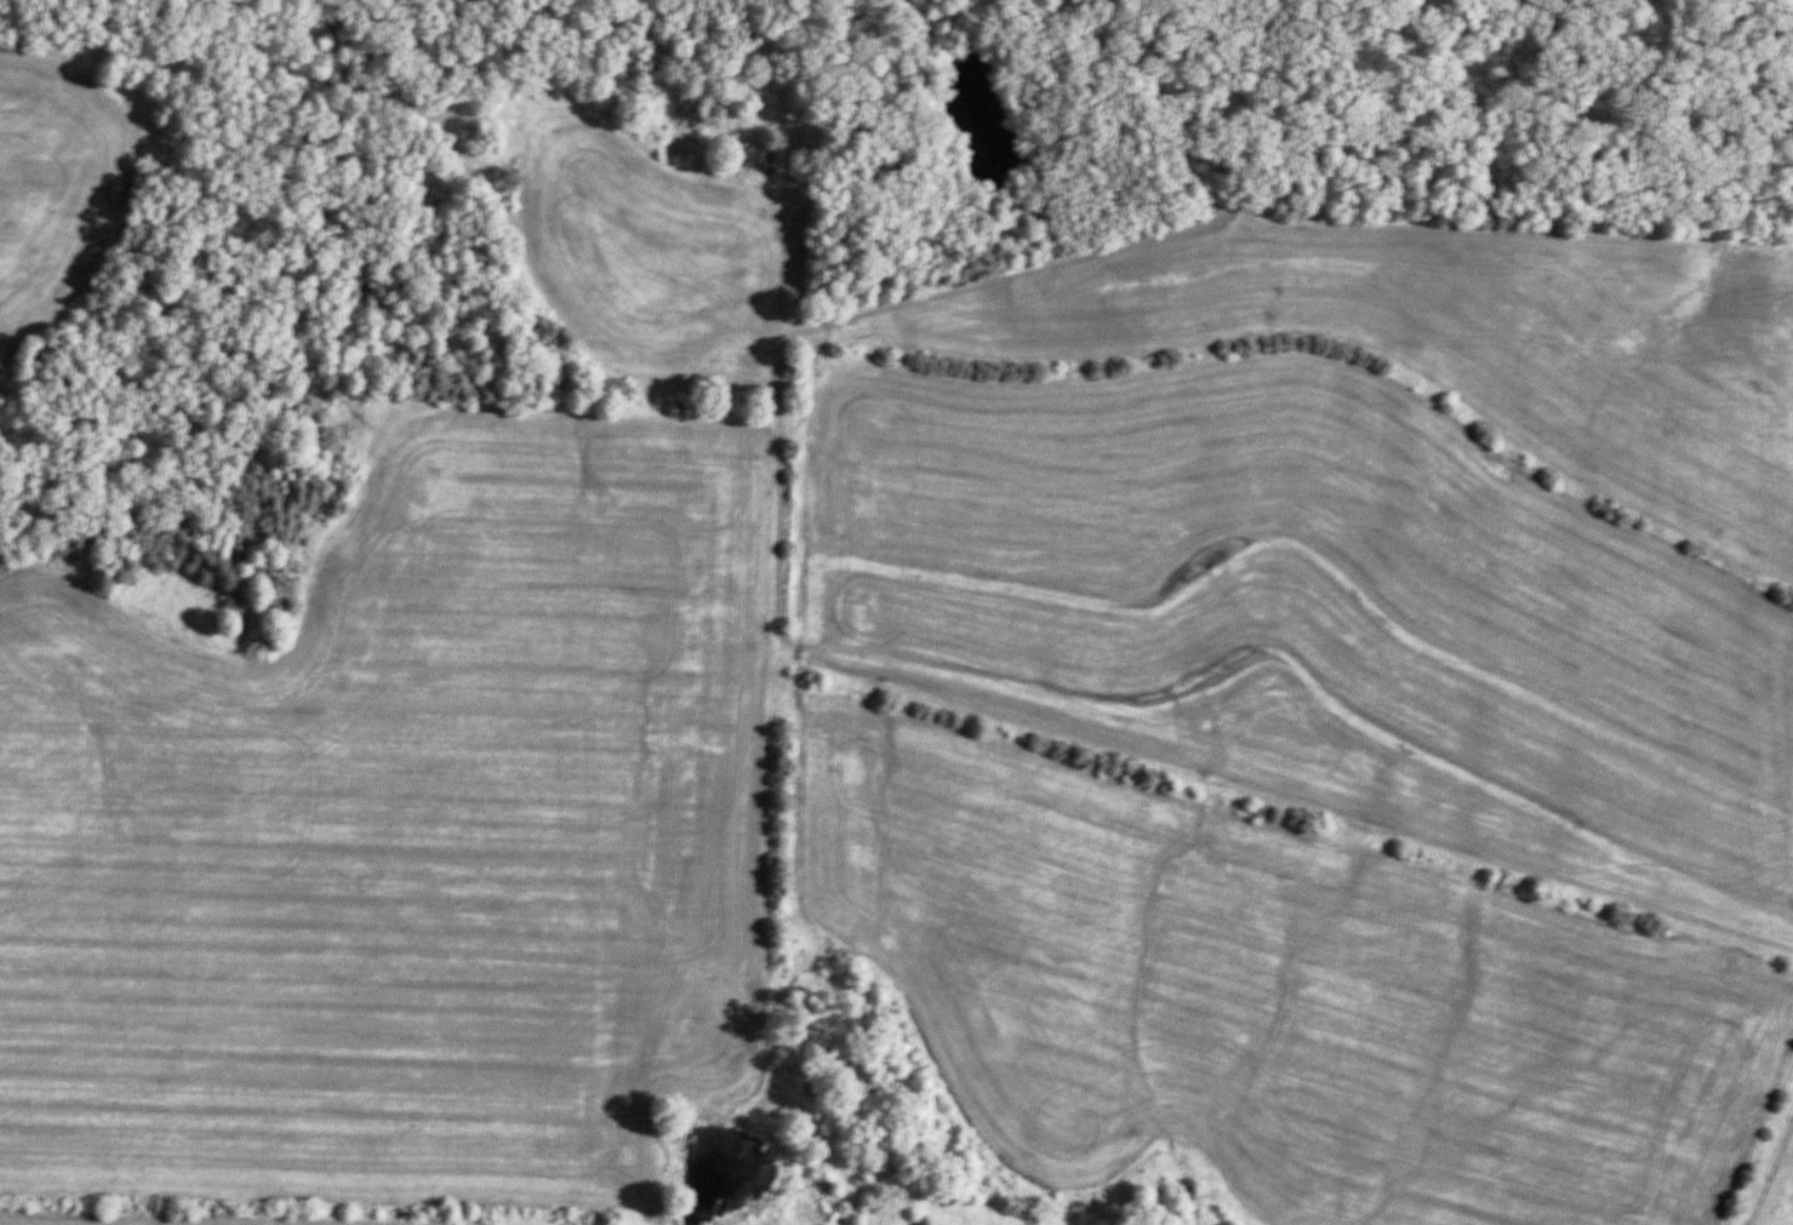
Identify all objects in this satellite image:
road: (1769, 1168)

